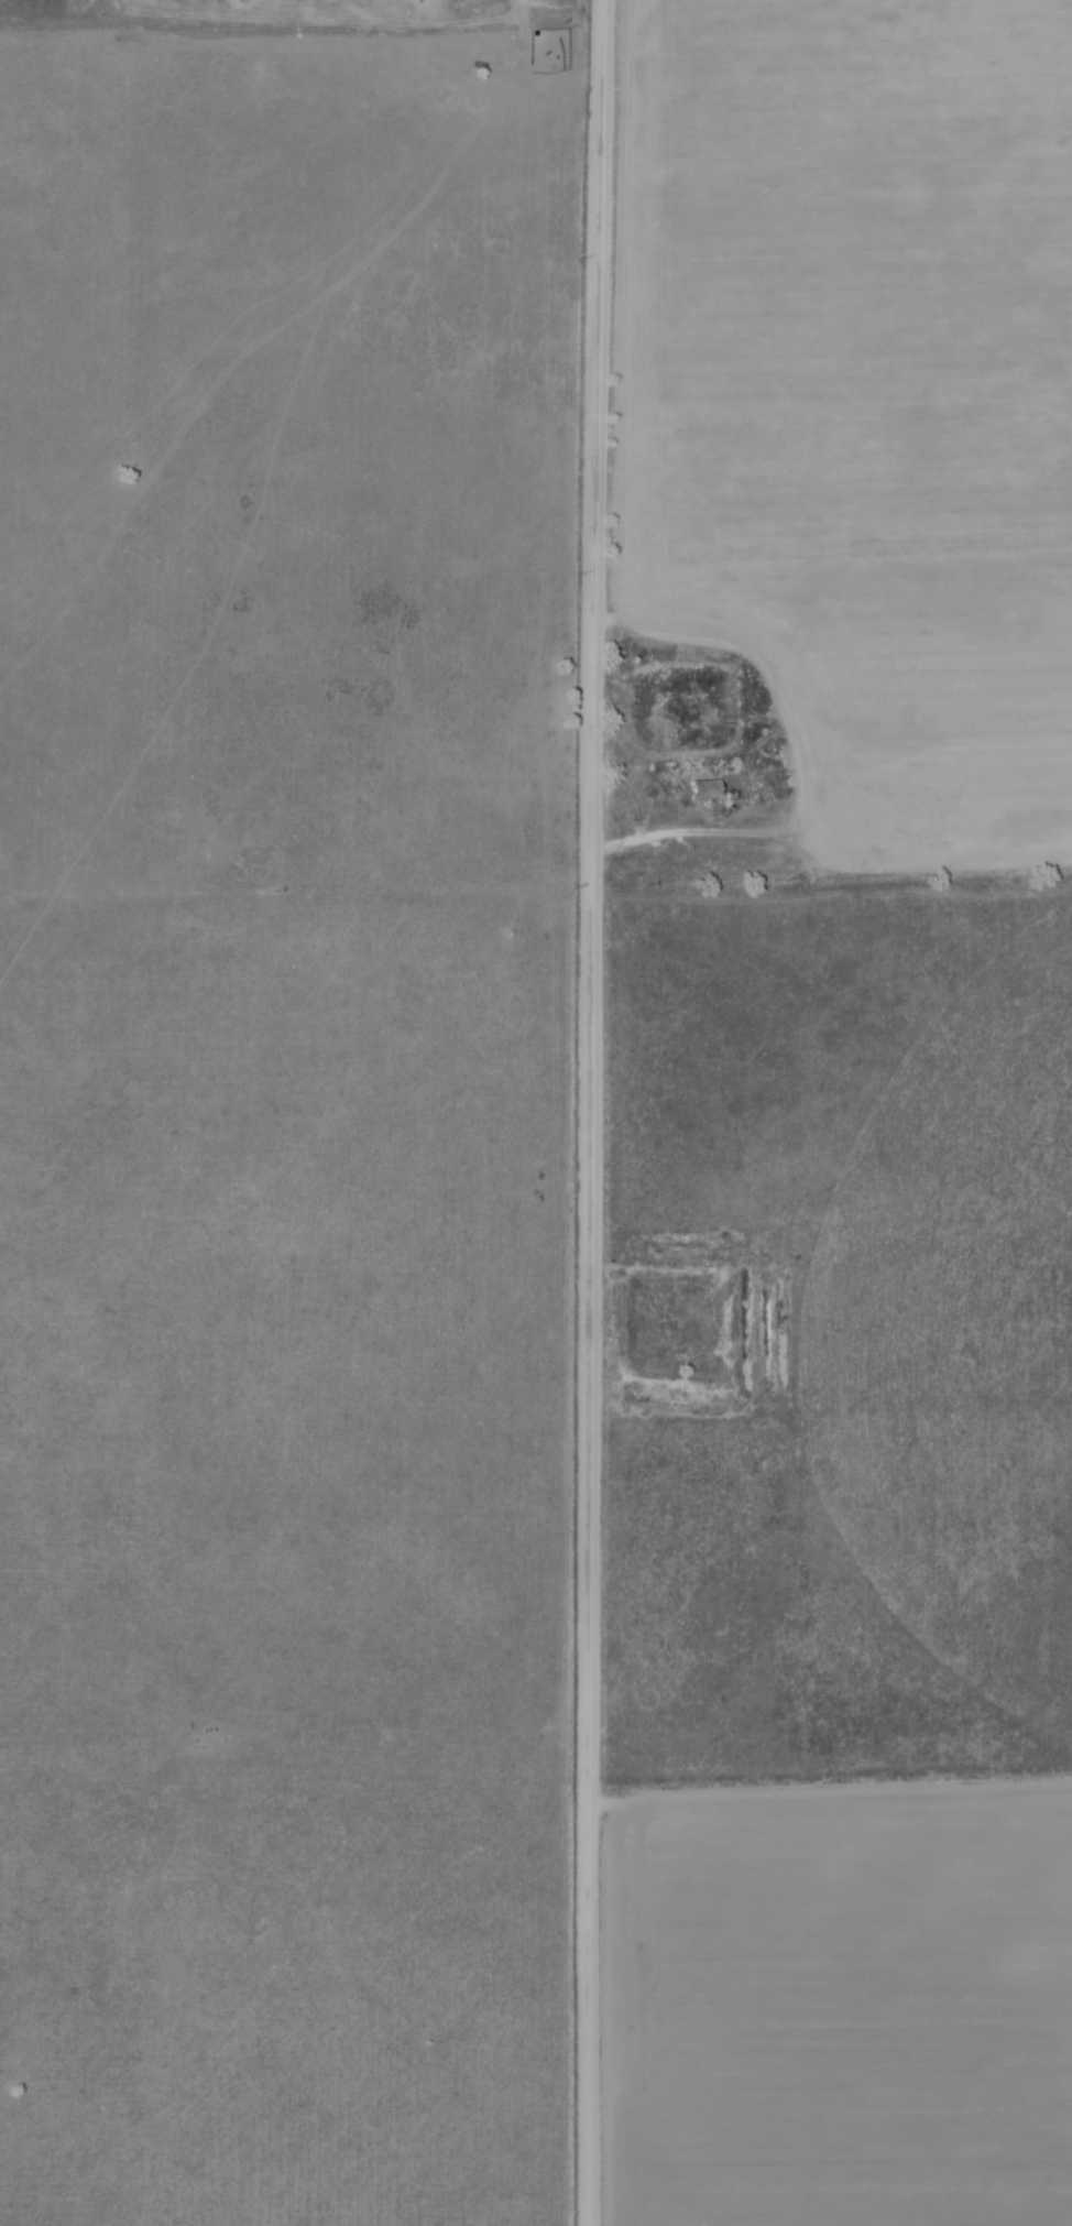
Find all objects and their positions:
road: (566, 10)
road: (665, 837)
road: (592, 1112)

